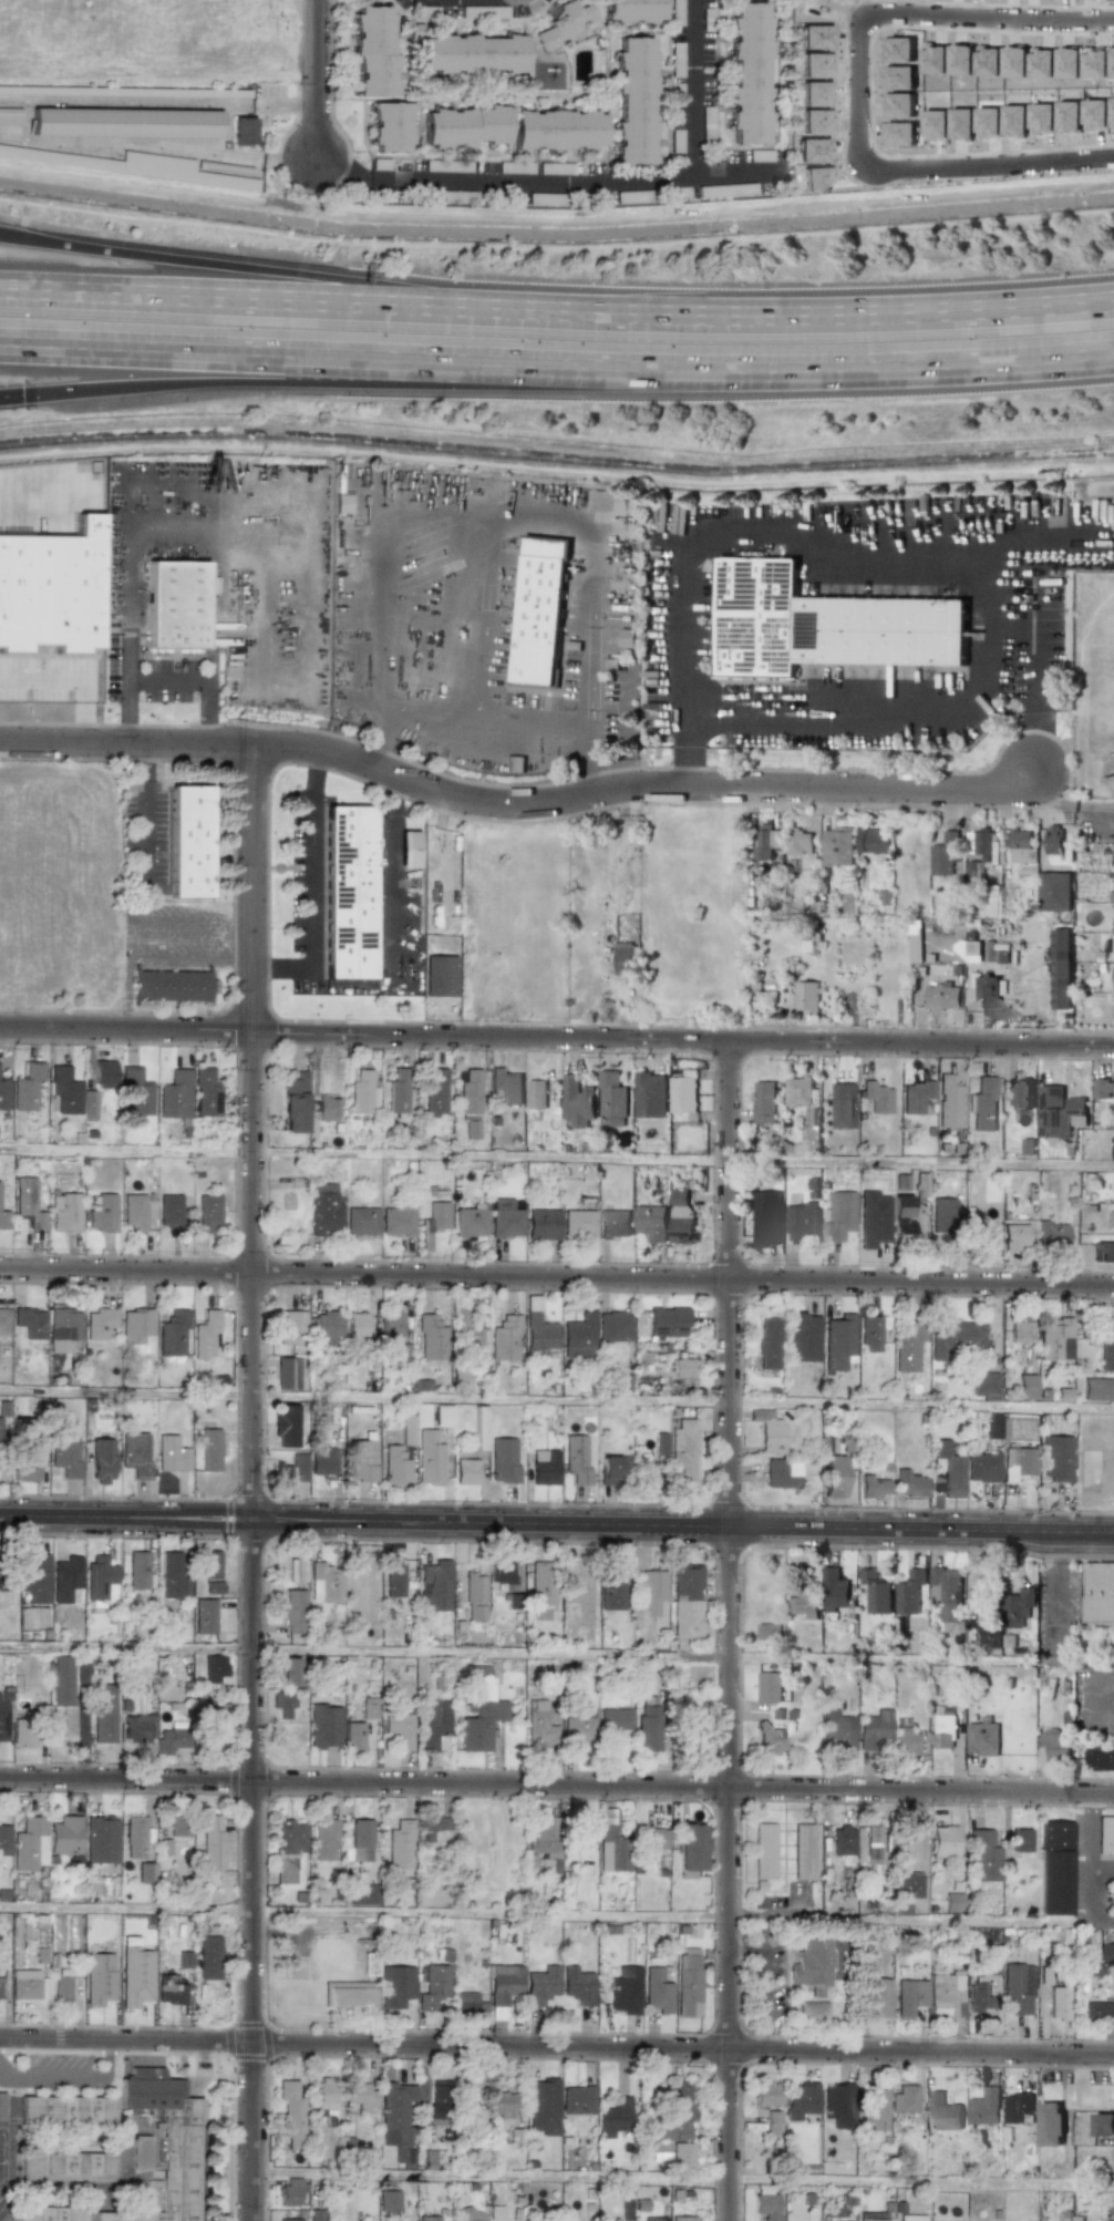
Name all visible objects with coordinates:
building: (633, 10)
building: (564, 24)
building: (373, 51)
building: (471, 53)
building: (749, 72)
road: (313, 78)
road: (856, 97)
building: (635, 102)
building: (10, 115)
building: (125, 121)
building: (464, 126)
building: (390, 127)
building: (557, 130)
building: (243, 131)
road: (693, 131)
building: (123, 164)
road: (501, 183)
road: (244, 271)
road: (243, 298)
road: (801, 310)
road: (557, 373)
road: (374, 384)
road: (10, 397)
road: (556, 470)
building: (342, 503)
road: (18, 507)
road: (833, 552)
road: (389, 558)
road: (590, 574)
building: (51, 588)
building: (175, 606)
building: (540, 611)
road: (485, 618)
building: (824, 624)
road: (128, 658)
road: (41, 676)
road: (168, 676)
road: (85, 708)
road: (382, 718)
road: (481, 720)
road: (857, 723)
road: (339, 737)
road: (584, 739)
road: (374, 749)
road: (145, 752)
road: (1038, 757)
building: (515, 763)
road: (317, 767)
road: (684, 767)
road: (592, 777)
road: (360, 781)
road: (516, 802)
road: (145, 829)
building: (189, 841)
building: (800, 841)
building: (873, 841)
building: (767, 842)
building: (979, 843)
building: (1054, 844)
building: (837, 846)
building: (1021, 846)
building: (406, 850)
building: (945, 854)
building: (976, 871)
building: (348, 892)
building: (1055, 892)
road: (311, 897)
building: (991, 901)
building: (128, 918)
road: (182, 921)
road: (136, 924)
road: (220, 942)
road: (127, 944)
building: (625, 958)
road: (173, 962)
road: (235, 963)
road: (259, 969)
building: (1061, 969)
building: (943, 971)
building: (440, 976)
road: (126, 985)
building: (173, 985)
building: (988, 991)
building: (942, 996)
building: (1061, 996)
building: (806, 998)
road: (126, 1018)
road: (556, 1037)
building: (103, 1073)
building: (27, 1087)
building: (1103, 1088)
building: (64, 1090)
building: (434, 1090)
building: (136, 1091)
building: (398, 1091)
building: (468, 1091)
building: (798, 1091)
building: (1019, 1092)
building: (3, 1093)
building: (206, 1093)
building: (362, 1093)
building: (536, 1093)
building: (683, 1093)
building: (175, 1094)
building: (651, 1094)
building: (877, 1097)
building: (915, 1097)
building: (612, 1099)
building: (948, 1100)
building: (578, 1102)
building: (764, 1102)
building: (293, 1103)
building: (842, 1104)
building: (982, 1104)
building: (89, 1106)
building: (327, 1109)
building: (1060, 1112)
building: (471, 1130)
building: (1113, 1152)
road: (557, 1156)
building: (27, 1203)
building: (324, 1210)
building: (169, 1211)
building: (65, 1212)
building: (101, 1212)
building: (134, 1212)
building: (207, 1212)
building: (838, 1215)
building: (901, 1215)
building: (942, 1215)
building: (436, 1216)
building: (681, 1217)
building: (505, 1219)
building: (766, 1219)
building: (398, 1220)
building: (361, 1221)
building: (802, 1221)
building: (470, 1222)
building: (651, 1222)
building: (578, 1223)
building: (615, 1223)
building: (541, 1224)
building: (1052, 1235)
building: (987, 1236)
building: (1014, 1237)
building: (1104, 1253)
road: (557, 1275)
building: (3, 1322)
building: (29, 1322)
building: (667, 1322)
building: (99, 1323)
building: (357, 1324)
building: (64, 1325)
building: (136, 1325)
building: (391, 1325)
building: (327, 1326)
building: (613, 1326)
building: (1113, 1326)
building: (290, 1327)
building: (1020, 1330)
building: (578, 1331)
building: (463, 1333)
building: (172, 1334)
building: (869, 1334)
building: (206, 1335)
building: (539, 1335)
building: (955, 1337)
building: (431, 1338)
building: (505, 1338)
building: (802, 1338)
building: (1054, 1339)
building: (838, 1343)
building: (767, 1344)
building: (908, 1347)
building: (1106, 1356)
building: (683, 1365)
building: (287, 1374)
building: (1113, 1384)
building: (984, 1386)
building: (1025, 1387)
building: (1097, 1389)
road: (557, 1398)
building: (442, 1416)
building: (288, 1423)
building: (992, 1426)
building: (1021, 1429)
building: (408, 1430)
building: (769, 1431)
building: (209, 1450)
building: (64, 1453)
building: (682, 1453)
building: (135, 1454)
building: (171, 1454)
building: (430, 1458)
building: (1055, 1458)
building: (577, 1459)
building: (361, 1460)
building: (504, 1460)
building: (101, 1461)
building: (322, 1461)
building: (1019, 1463)
building: (395, 1466)
building: (300, 1467)
building: (544, 1468)
building: (612, 1468)
building: (982, 1468)
building: (949, 1469)
building: (24, 1471)
building: (466, 1472)
building: (650, 1472)
building: (781, 1473)
building: (281, 1474)
building: (833, 1475)
road: (250, 1482)
building: (909, 1484)
building: (874, 1487)
road: (557, 1523)
building: (207, 1564)
building: (137, 1570)
building: (296, 1570)
building: (502, 1572)
building: (173, 1576)
building: (393, 1577)
building: (34, 1579)
building: (65, 1579)
building: (100, 1579)
building: (324, 1582)
building: (541, 1583)
building: (434, 1585)
building: (213, 1587)
building: (834, 1590)
building: (875, 1591)
road: (1060, 1591)
building: (611, 1592)
building: (651, 1592)
building: (909, 1592)
building: (1098, 1592)
building: (948, 1596)
building: (475, 1597)
building: (687, 1600)
building: (804, 1603)
building: (1018, 1607)
building: (292, 1612)
building: (204, 1616)
building: (33, 1618)
road: (729, 1629)
building: (769, 1632)
building: (990, 1634)
road: (557, 1654)
building: (214, 1667)
building: (289, 1672)
building: (62, 1680)
building: (769, 1687)
road: (1098, 1693)
building: (282, 1704)
building: (368, 1708)
building: (479, 1711)
building: (104, 1714)
building: (613, 1719)
building: (433, 1721)
building: (538, 1724)
building: (578, 1725)
building: (324, 1726)
building: (140, 1727)
building: (399, 1728)
building: (648, 1728)
building: (212, 1729)
building: (838, 1729)
building: (874, 1729)
building: (22, 1732)
building: (942, 1732)
building: (353, 1736)
building: (770, 1738)
building: (982, 1738)
building: (172, 1739)
building: (906, 1742)
building: (1054, 1746)
building: (1100, 1757)
road: (557, 1785)
building: (177, 1827)
building: (431, 1827)
building: (586, 1834)
building: (65, 1836)
building: (1105, 1836)
building: (135, 1837)
building: (873, 1837)
building: (652, 1838)
building: (3, 1839)
building: (101, 1840)
building: (323, 1840)
building: (360, 1840)
building: (1019, 1840)
building: (843, 1841)
building: (942, 1841)
building: (212, 1843)
building: (30, 1844)
building: (544, 1844)
building: (399, 1845)
building: (690, 1847)
building: (611, 1848)
building: (287, 1849)
building: (763, 1850)
building: (803, 1852)
building: (983, 1854)
road: (1092, 1857)
building: (1054, 1868)
road: (1103, 1870)
building: (146, 1872)
building: (908, 1885)
building: (107, 1888)
building: (362, 1894)
building: (952, 1902)
road: (556, 1915)
building: (72, 1933)
building: (1105, 1951)
building: (209, 1957)
building: (184, 1960)
building: (370, 1964)
building: (812, 1964)
building: (135, 1976)
building: (688, 1982)
building: (24, 1984)
building: (504, 1984)
building: (576, 1984)
building: (541, 1985)
building: (395, 1986)
building: (62, 1987)
building: (434, 1987)
building: (1018, 1987)
building: (1113, 1987)
building: (169, 1989)
building: (626, 1991)
building: (657, 1991)
building: (349, 1995)
building: (910, 1995)
building: (946, 1996)
building: (879, 1999)
building: (465, 2002)
building: (1058, 2003)
building: (813, 2011)
building: (1098, 2012)
road: (557, 2044)
road: (109, 2056)
road: (54, 2073)
building: (362, 2094)
building: (766, 2094)
building: (327, 2095)
building: (904, 2099)
building: (577, 2100)
building: (801, 2100)
building: (440, 2102)
building: (836, 2104)
building: (502, 2105)
building: (1, 2106)
building: (543, 2107)
building: (984, 2107)
building: (1019, 2107)
building: (874, 2108)
building: (65, 2110)
building: (943, 2112)
building: (291, 2114)
building: (678, 2115)
building: (615, 2118)
building: (396, 2121)
building: (772, 2122)
building: (1051, 2124)
building: (1103, 2124)
building: (166, 2143)
building: (660, 2151)
building: (140, 2152)
building: (681, 2156)
building: (65, 2167)
road: (682, 2178)
building: (290, 2192)
building: (389, 2201)
building: (765, 2205)
building: (49, 2213)
building: (873, 2217)
building: (430, 2218)
building: (909, 2218)
building: (654, 2219)
building: (683, 2219)
building: (289, 2220)

